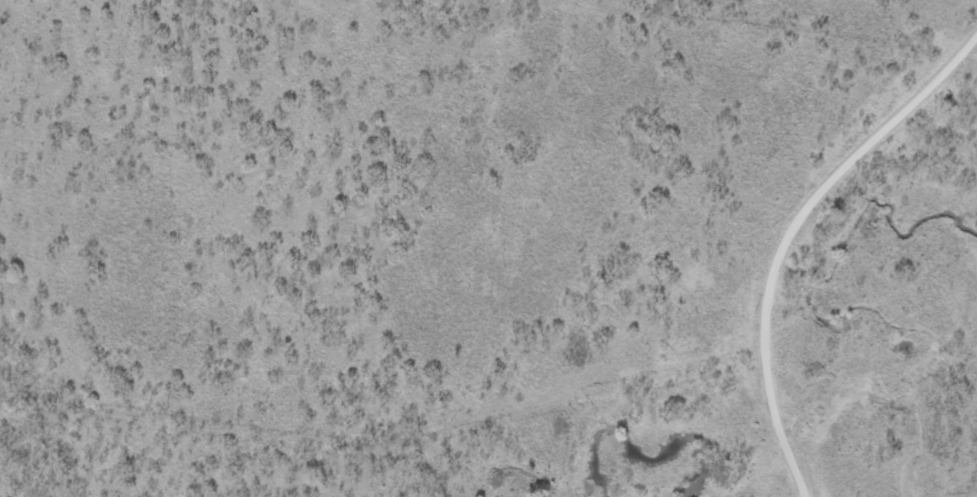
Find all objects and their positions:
road: (796, 258)

